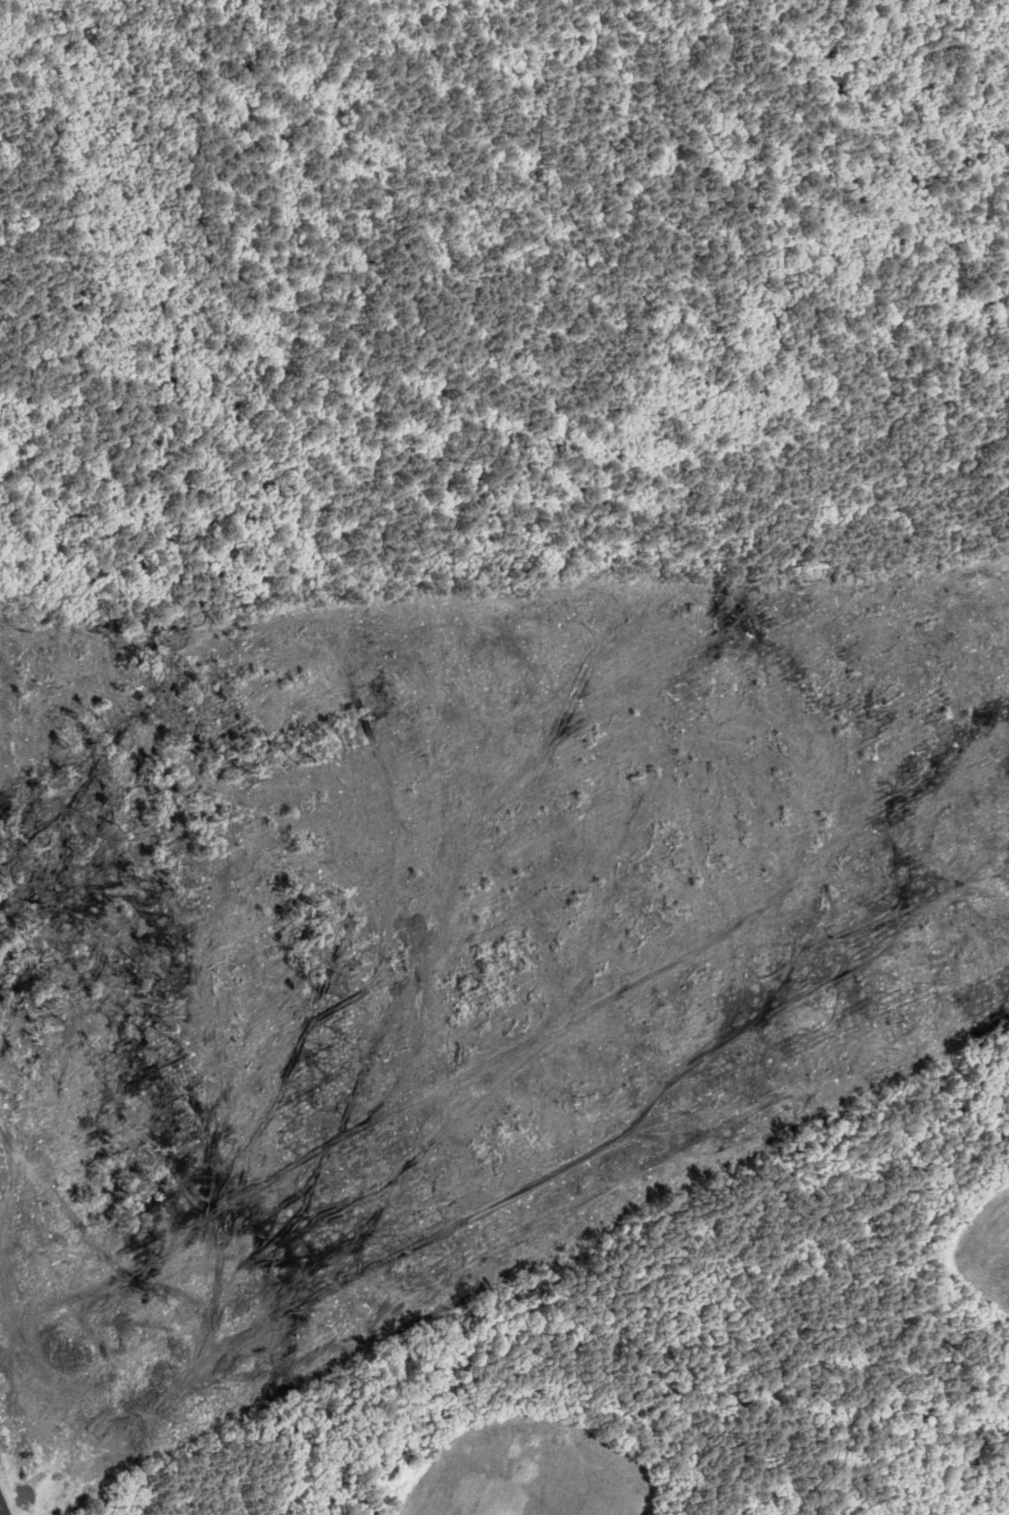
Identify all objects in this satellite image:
road: (1, 1511)

